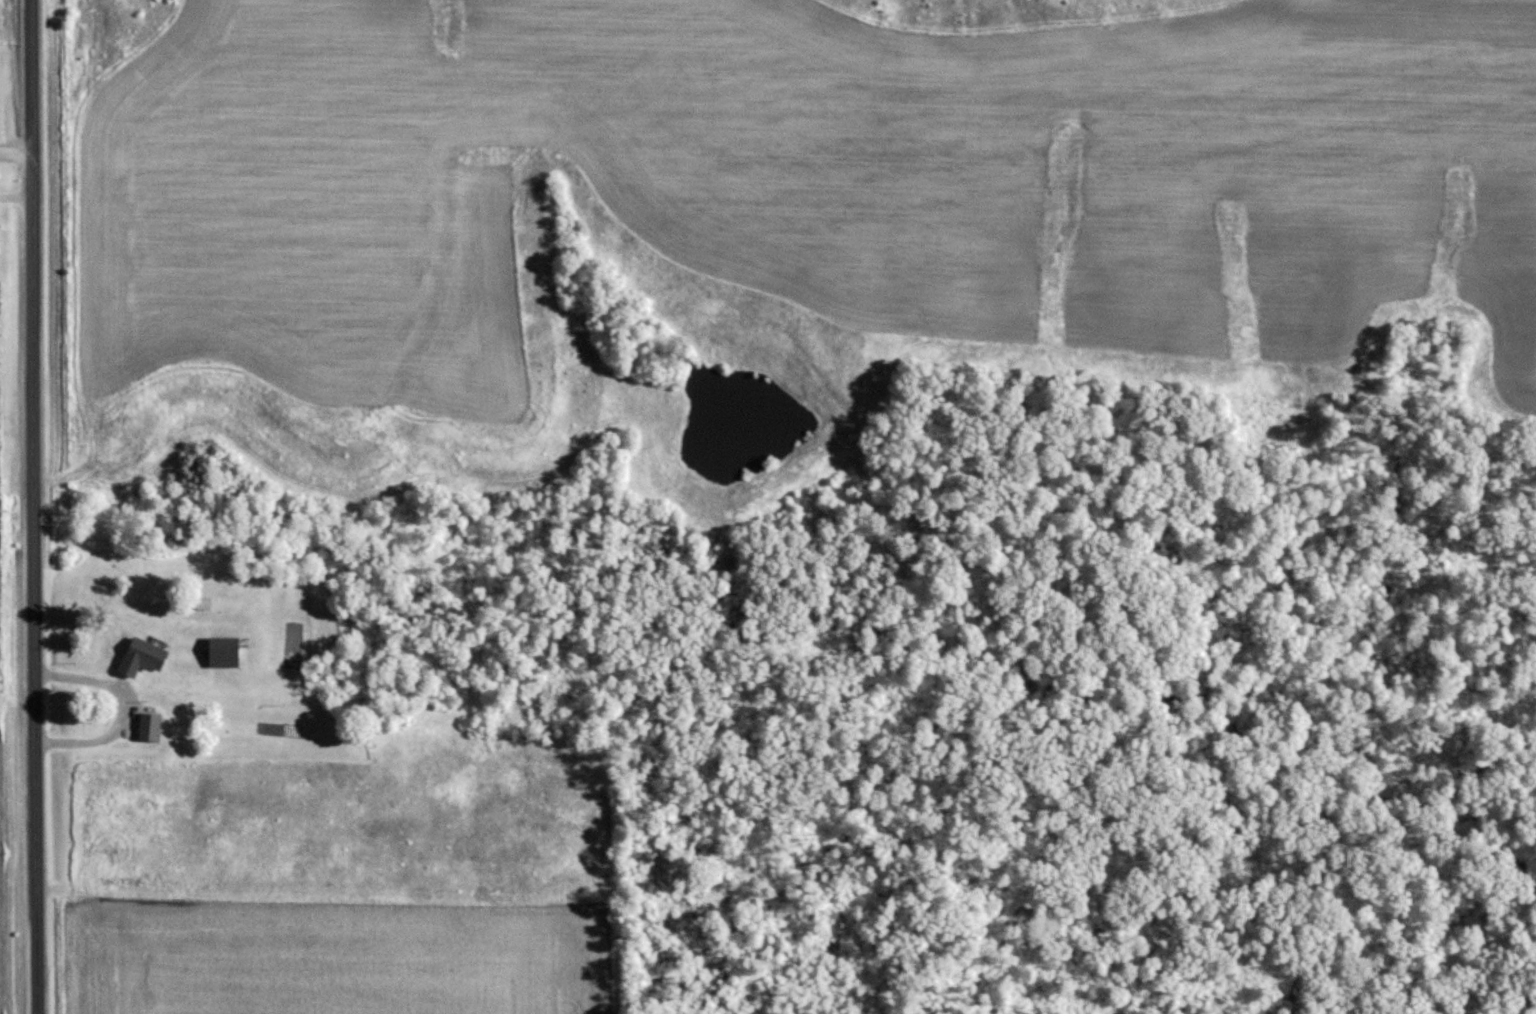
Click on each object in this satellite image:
road: (33, 507)
building: (221, 652)
building: (140, 657)
building: (148, 727)

